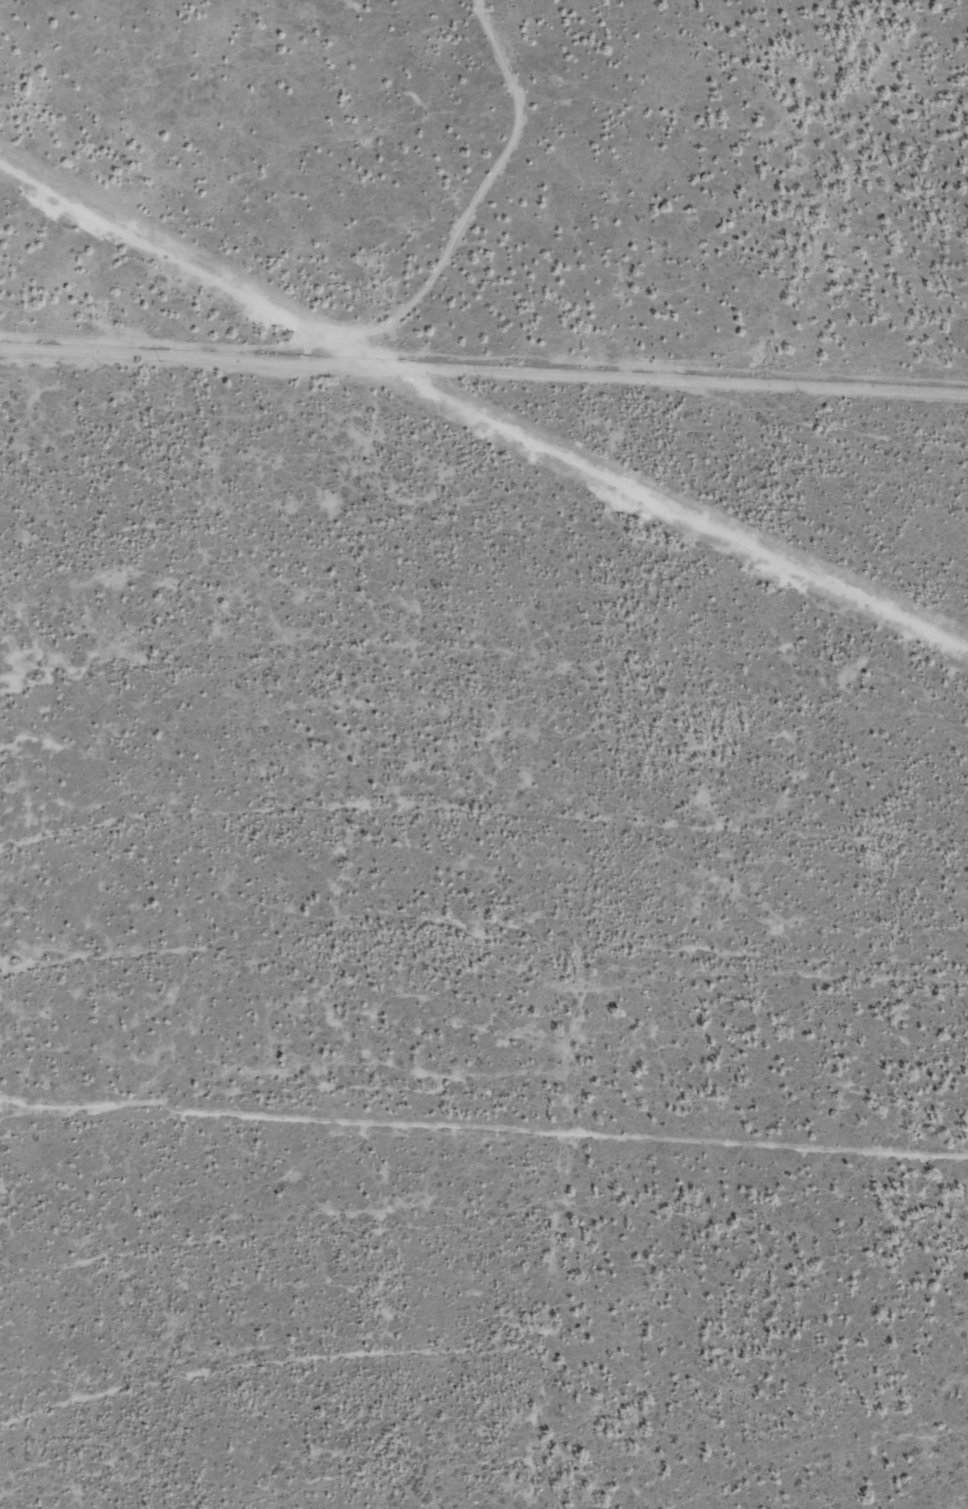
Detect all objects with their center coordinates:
road: (860, 1459)

